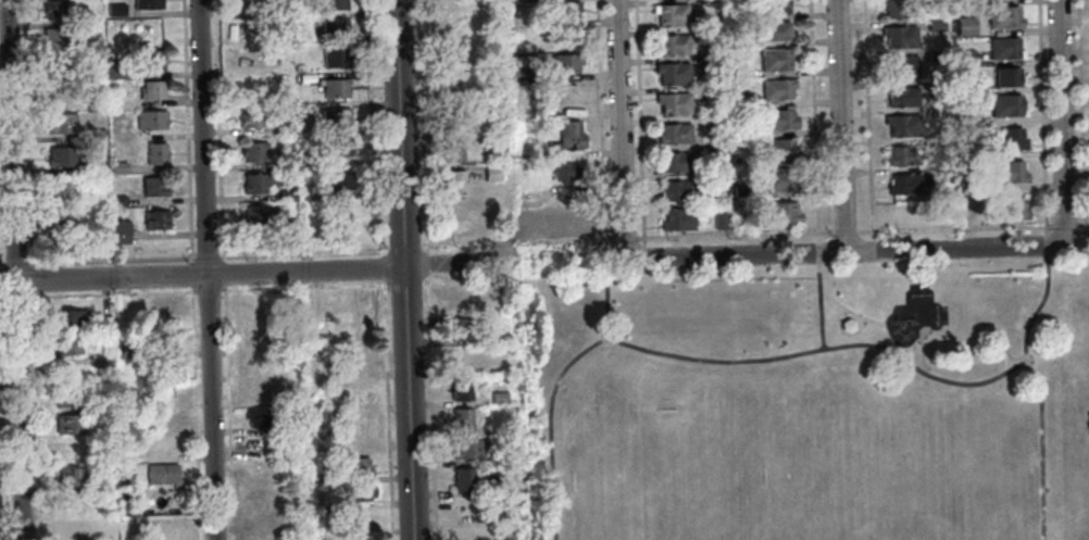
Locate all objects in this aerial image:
building: (935, 1)
building: (246, 2)
building: (334, 3)
building: (149, 4)
building: (449, 5)
building: (117, 7)
building: (774, 7)
building: (898, 8)
building: (55, 9)
building: (562, 10)
building: (668, 14)
building: (737, 14)
building: (1002, 17)
building: (696, 21)
building: (934, 25)
building: (963, 25)
building: (331, 26)
building: (251, 28)
building: (148, 29)
building: (451, 30)
building: (773, 30)
building: (898, 35)
building: (58, 38)
building: (671, 43)
building: (1002, 48)
building: (934, 54)
building: (251, 56)
building: (964, 56)
building: (333, 58)
building: (775, 59)
building: (711, 62)
building: (564, 63)
building: (900, 66)
building: (736, 70)
building: (115, 71)
building: (528, 71)
building: (671, 73)
building: (564, 75)
building: (1006, 76)
building: (61, 84)
building: (961, 85)
building: (935, 86)
building: (334, 87)
building: (775, 88)
building: (153, 89)
building: (456, 90)
building: (901, 96)
building: (565, 98)
building: (737, 101)
building: (676, 103)
building: (1004, 105)
building: (524, 110)
road: (1078, 112)
building: (963, 114)
road: (865, 115)
road: (1039, 116)
building: (248, 117)
building: (334, 117)
road: (600, 118)
road: (637, 118)
building: (775, 118)
building: (153, 120)
road: (811, 120)
building: (62, 122)
building: (455, 122)
building: (712, 123)
road: (1061, 123)
building: (901, 124)
road: (422, 125)
road: (840, 126)
road: (220, 128)
building: (280, 128)
road: (186, 129)
road: (372, 129)
road: (619, 129)
building: (738, 131)
road: (25, 133)
building: (97, 133)
building: (674, 133)
building: (567, 136)
building: (1006, 138)
building: (935, 145)
building: (337, 147)
building: (775, 149)
building: (452, 150)
building: (252, 151)
building: (712, 151)
building: (158, 153)
building: (901, 154)
building: (63, 155)
building: (739, 160)
building: (286, 161)
building: (675, 162)
building: (99, 166)
building: (120, 166)
building: (561, 169)
building: (490, 172)
building: (1006, 172)
building: (942, 175)
building: (778, 179)
building: (336, 180)
building: (452, 180)
building: (714, 180)
building: (254, 181)
building: (906, 184)
building: (155, 187)
building: (67, 188)
building: (675, 190)
building: (740, 190)
building: (287, 194)
building: (117, 199)
building: (101, 200)
building: (1007, 209)
building: (780, 212)
building: (256, 213)
building: (677, 217)
building: (738, 217)
building: (158, 218)
building: (717, 221)
building: (566, 223)
building: (64, 224)
road: (1063, 224)
building: (287, 225)
road: (953, 227)
road: (842, 230)
building: (121, 231)
road: (731, 234)
road: (623, 238)
road: (514, 239)
road: (1082, 240)
road: (1044, 244)
road: (403, 247)
road: (816, 251)
road: (844, 252)
road: (303, 253)
road: (206, 256)
road: (110, 259)
road: (571, 261)
road: (425, 262)
road: (1, 263)
road: (13, 263)
road: (1076, 265)
road: (380, 266)
road: (14, 269)
road: (205, 269)
road: (258, 269)
road: (402, 269)
road: (190, 274)
road: (561, 278)
road: (29, 279)
road: (223, 279)
road: (468, 281)
road: (403, 282)
road: (302, 286)
road: (206, 290)
road: (161, 291)
road: (14, 297)
road: (60, 297)
road: (2, 298)
building: (460, 298)
road: (817, 305)
building: (164, 307)
building: (353, 310)
road: (846, 311)
building: (66, 317)
building: (102, 322)
building: (844, 324)
building: (456, 328)
road: (842, 332)
building: (158, 341)
building: (65, 344)
road: (919, 348)
building: (125, 349)
road: (821, 349)
road: (781, 350)
building: (100, 356)
building: (461, 359)
building: (350, 360)
building: (261, 366)
road: (556, 378)
building: (458, 389)
building: (259, 390)
road: (1038, 392)
building: (498, 397)
building: (66, 398)
building: (291, 399)
park: (803, 402)
road: (430, 406)
road: (386, 410)
road: (193, 413)
road: (226, 413)
road: (34, 416)
building: (259, 416)
building: (460, 418)
building: (67, 424)
building: (292, 424)
building: (355, 431)
road: (3, 436)
building: (465, 448)
building: (73, 450)
building: (353, 466)
building: (263, 470)
building: (161, 473)
building: (70, 476)
building: (462, 478)
building: (358, 492)
building: (266, 497)
building: (164, 499)
building: (75, 502)
building: (466, 508)
building: (267, 523)
building: (163, 526)
building: (72, 528)
building: (358, 537)

